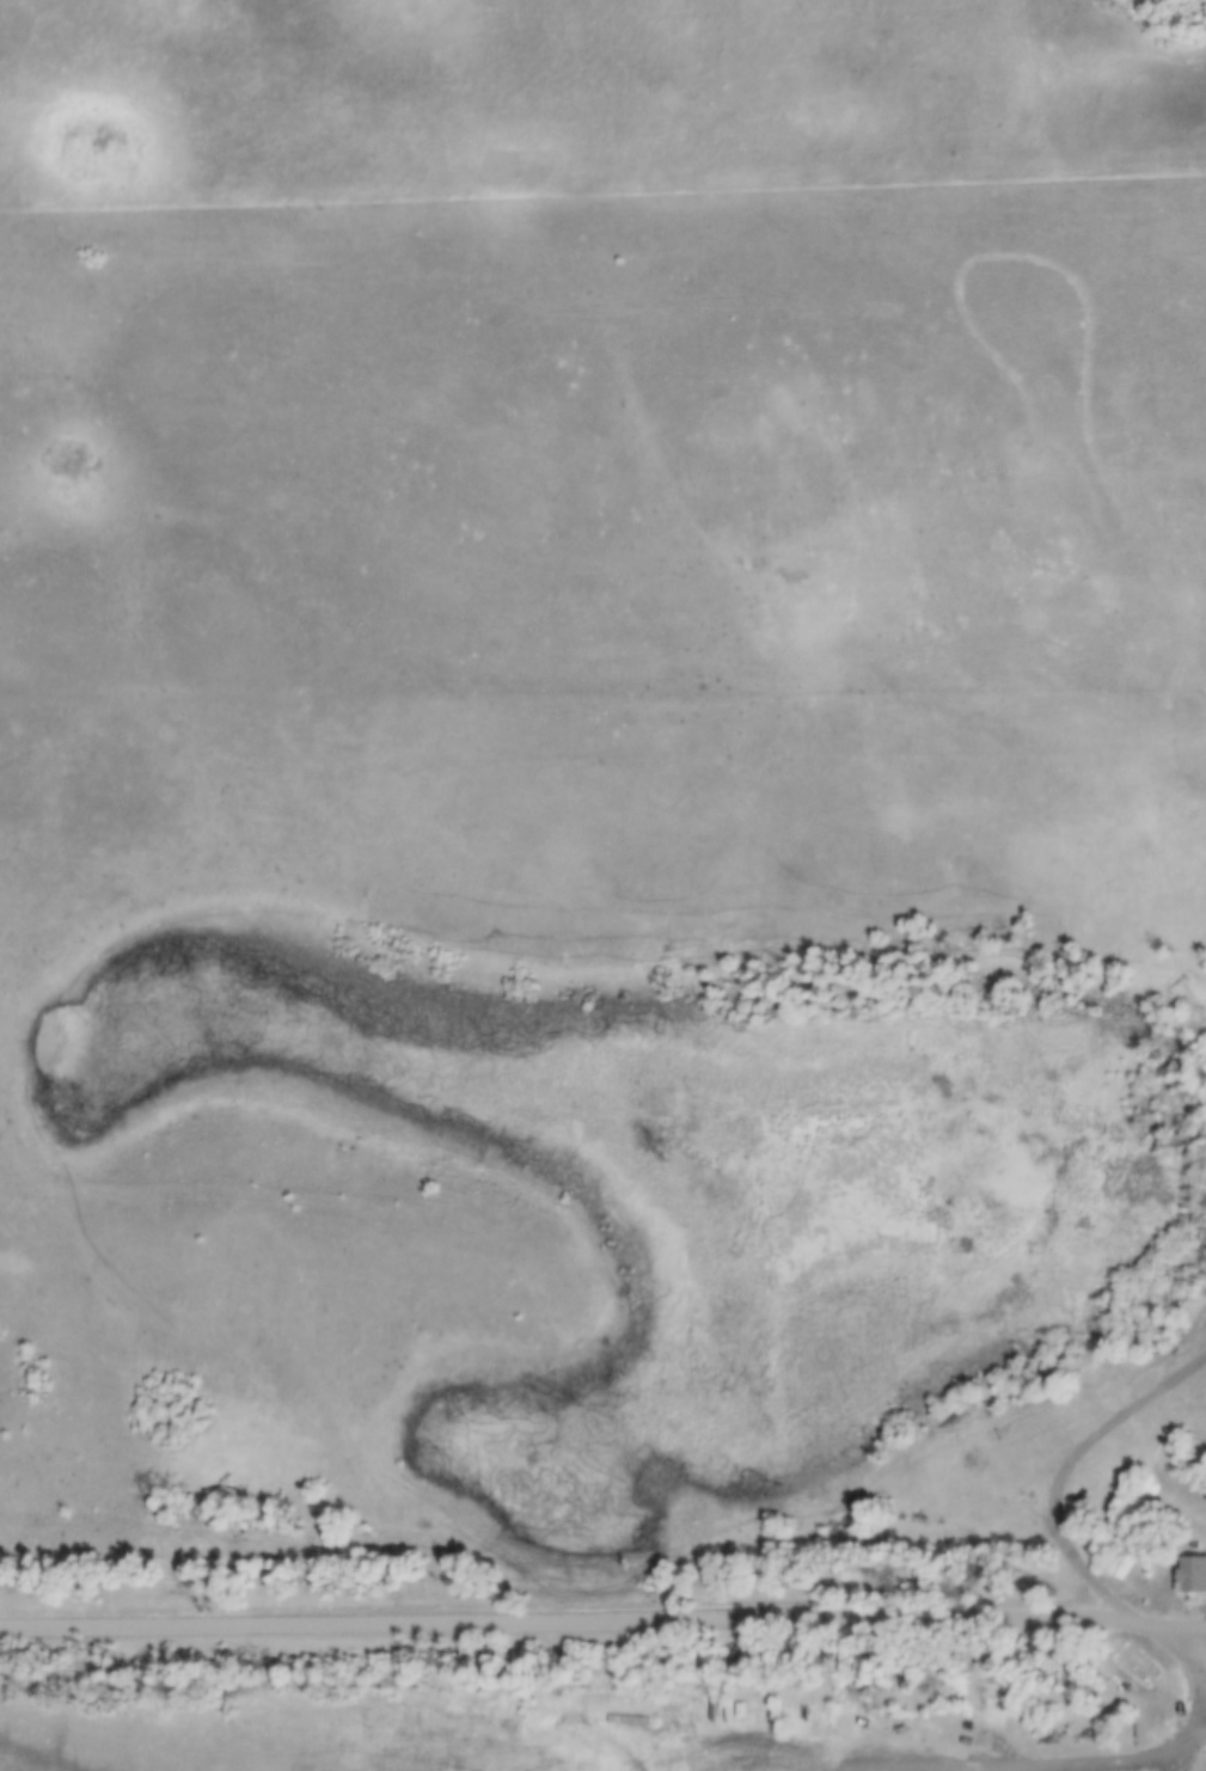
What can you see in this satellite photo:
building: (1192, 1576)
road: (604, 1618)

